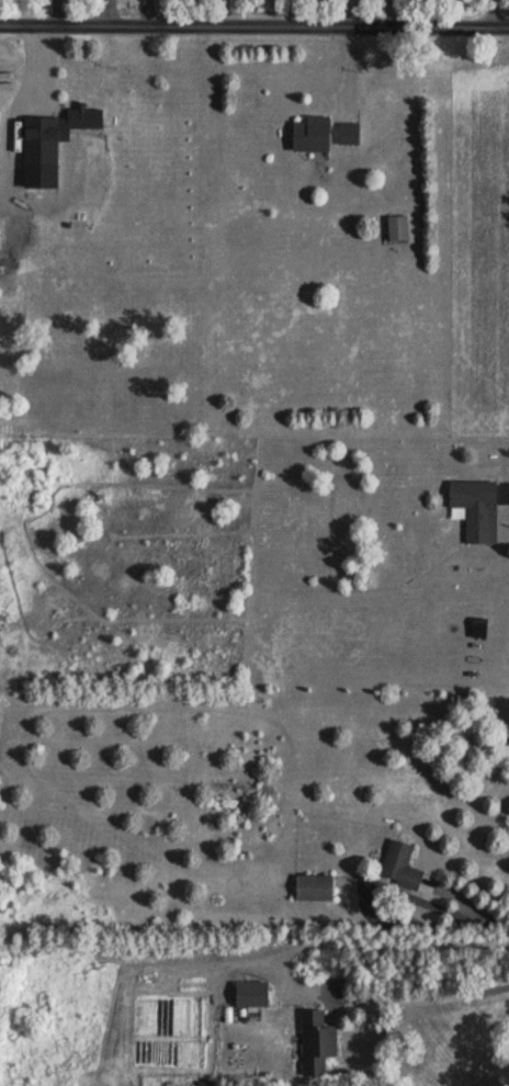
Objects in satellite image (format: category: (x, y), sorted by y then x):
road: (58, 12)
road: (400, 12)
road: (494, 12)
road: (111, 15)
road: (151, 15)
road: (253, 29)
building: (87, 120)
building: (351, 134)
building: (315, 135)
building: (401, 229)
building: (7, 268)
building: (478, 510)
building: (403, 866)
building: (316, 889)
road: (467, 905)
building: (255, 993)
road: (429, 998)
building: (320, 1042)

